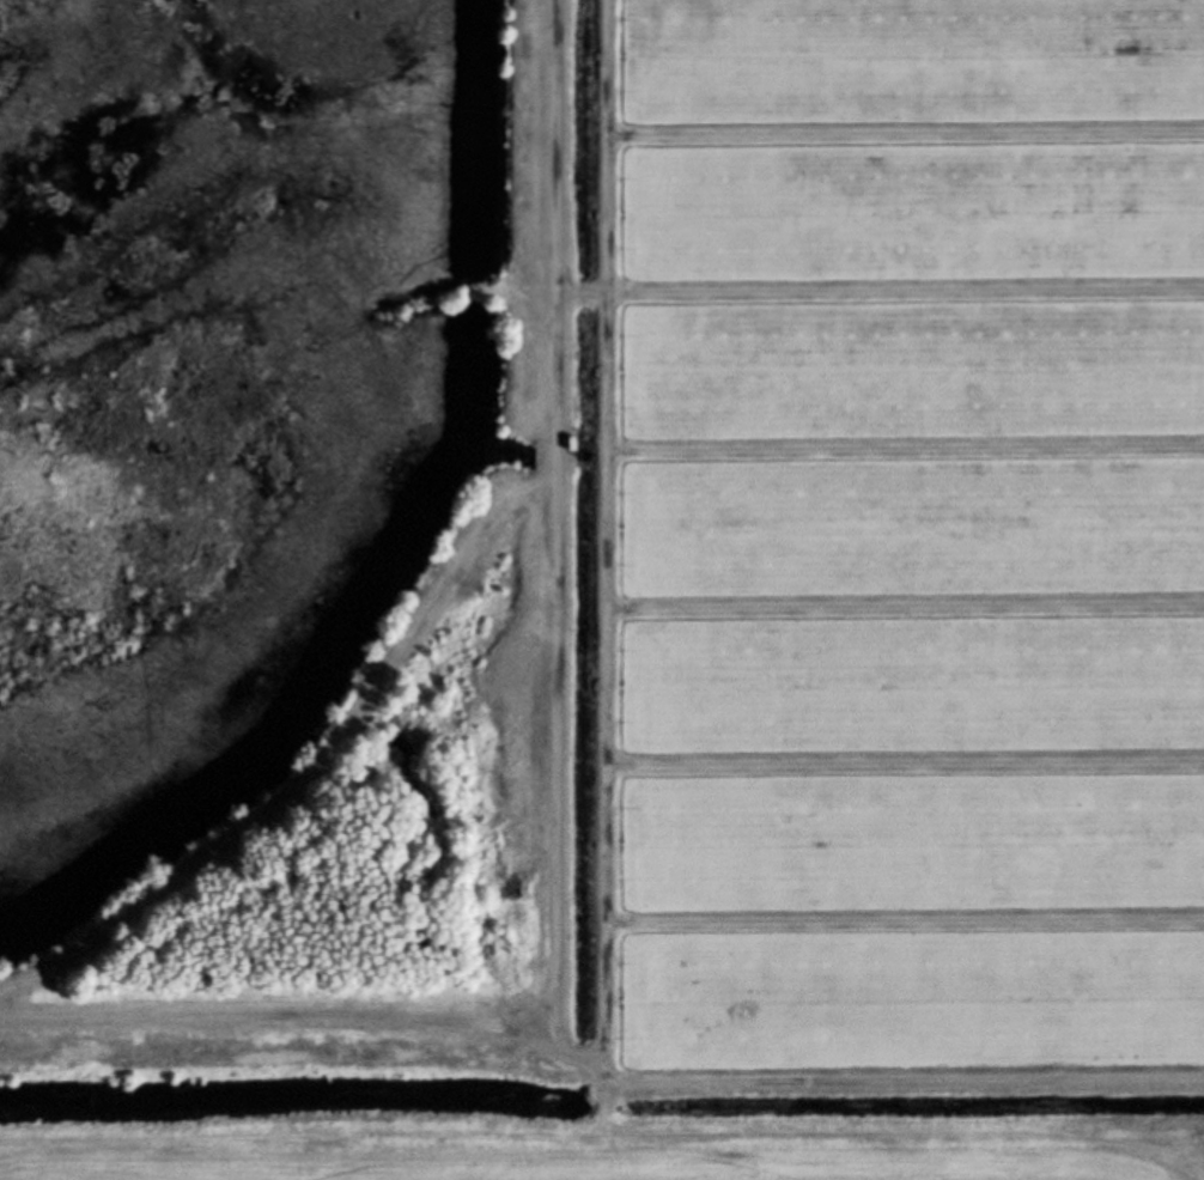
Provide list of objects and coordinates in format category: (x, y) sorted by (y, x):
crop: (894, 551)
crop: (523, 1162)

